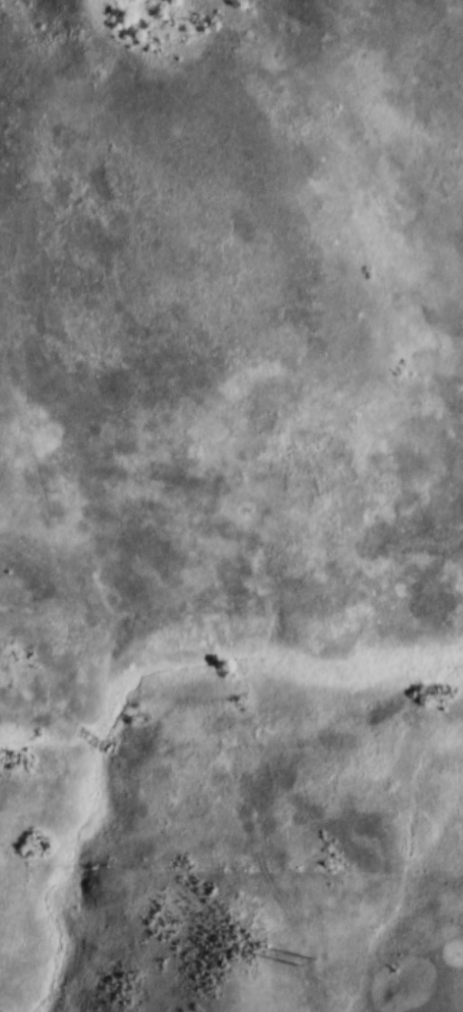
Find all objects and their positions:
power tower: (303, 970)

